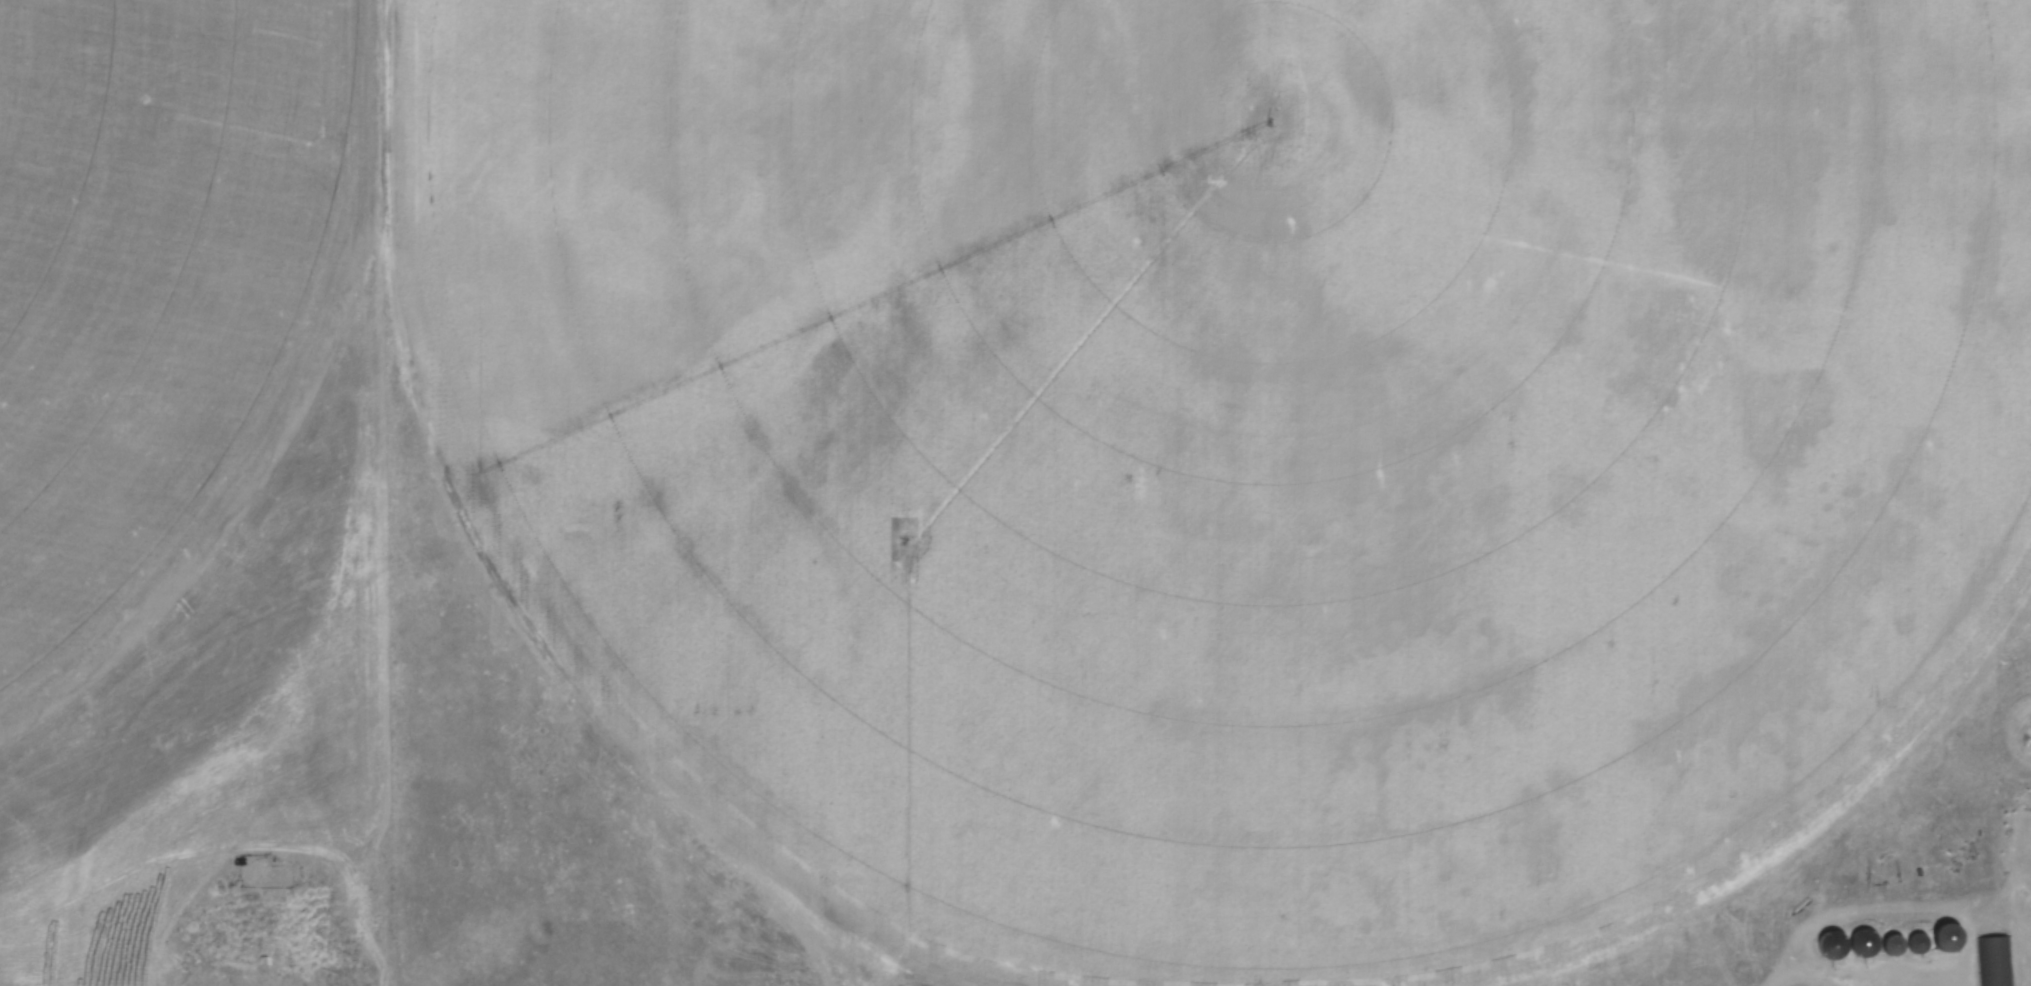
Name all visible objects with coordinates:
building: (1990, 961)

